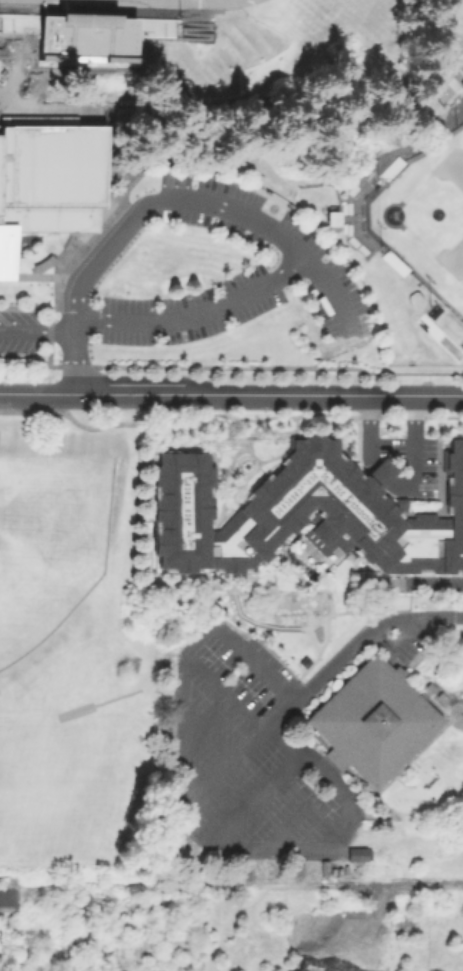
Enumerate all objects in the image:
track: (164, 2)
road: (15, 70)
building: (462, 83)
road: (144, 102)
road: (54, 109)
road: (199, 117)
road: (110, 158)
building: (393, 169)
road: (209, 174)
building: (47, 180)
road: (329, 180)
road: (194, 202)
building: (333, 218)
park: (425, 219)
road: (338, 227)
road: (92, 236)
parking lot: (285, 252)
building: (396, 264)
road: (27, 307)
road: (198, 316)
road: (64, 336)
road: (180, 367)
road: (413, 373)
road: (231, 393)
building: (380, 473)
road: (398, 483)
building: (304, 514)
park: (48, 564)
road: (369, 635)
building: (373, 722)
road: (228, 768)
park: (59, 793)
road: (197, 832)
building: (360, 855)
road: (7, 897)

